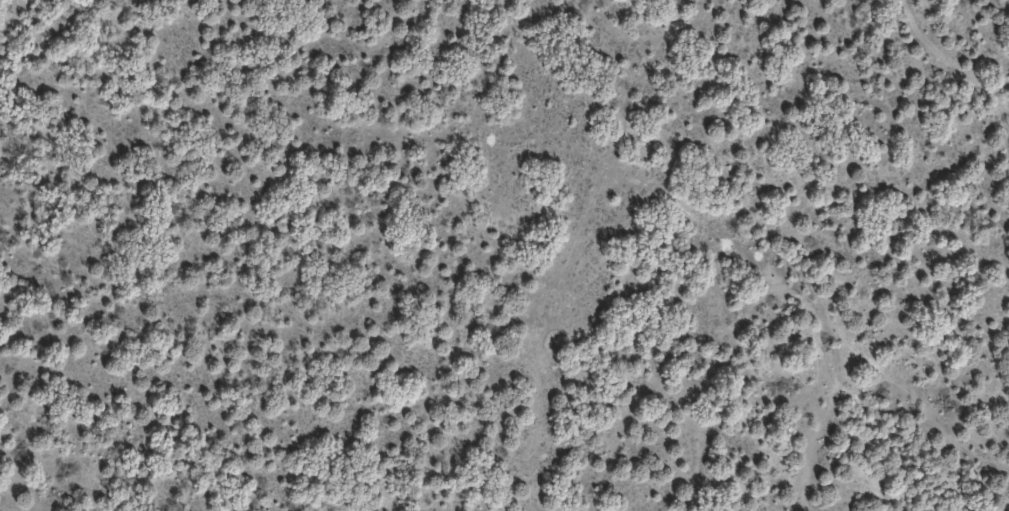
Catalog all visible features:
road: (971, 29)

